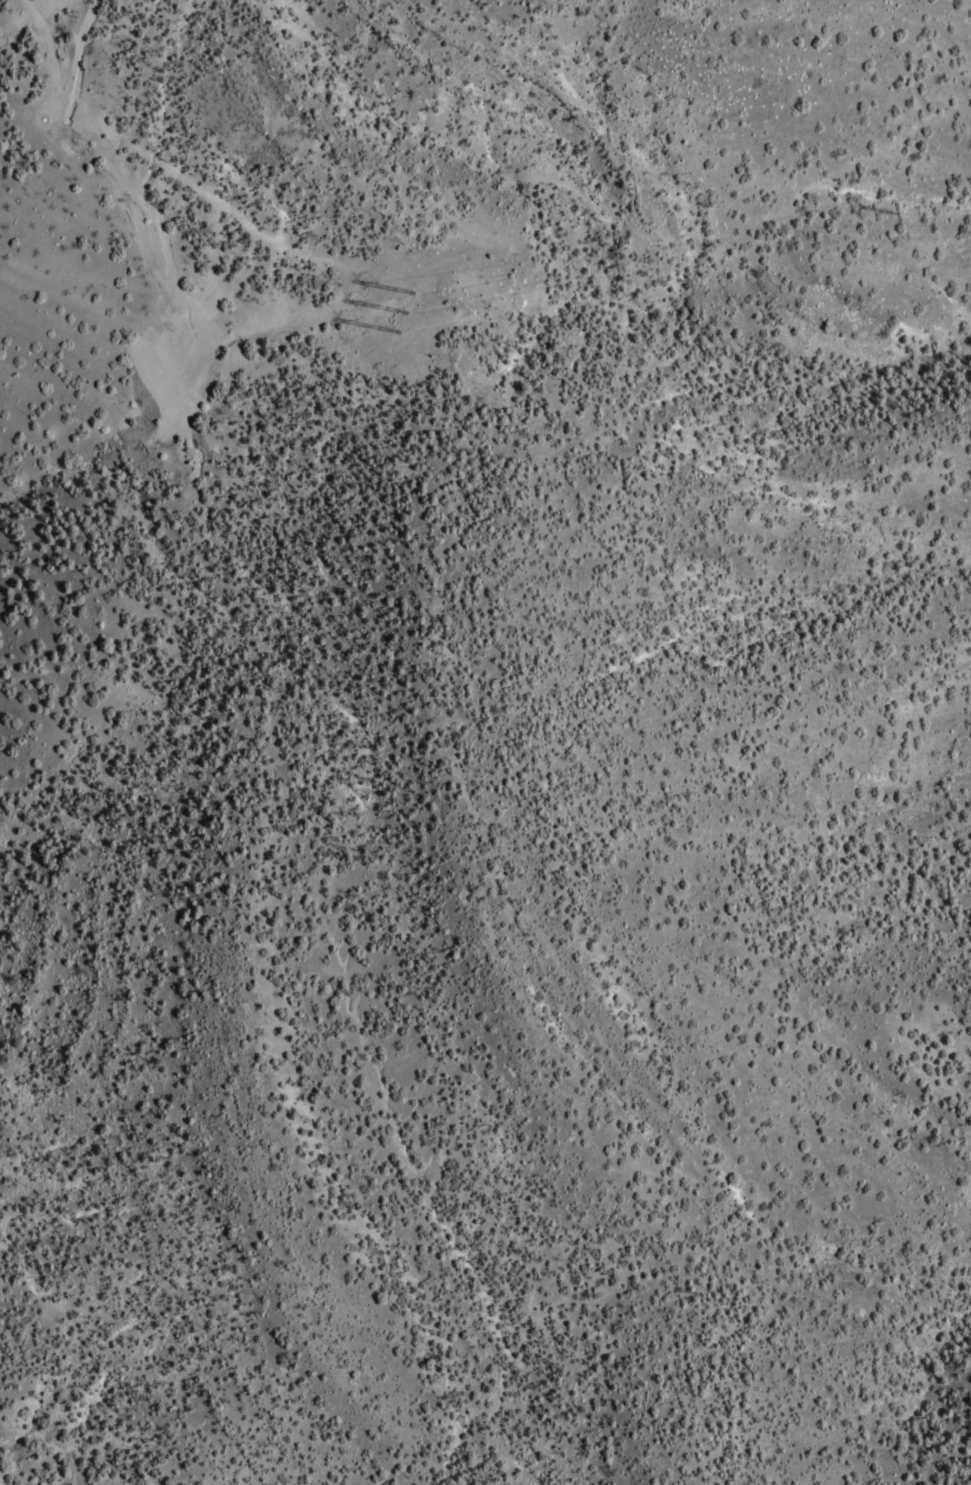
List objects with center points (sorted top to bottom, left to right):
road: (158, 163)
power tower: (895, 215)
power tower: (412, 292)
power tower: (399, 311)
power tower: (394, 329)

